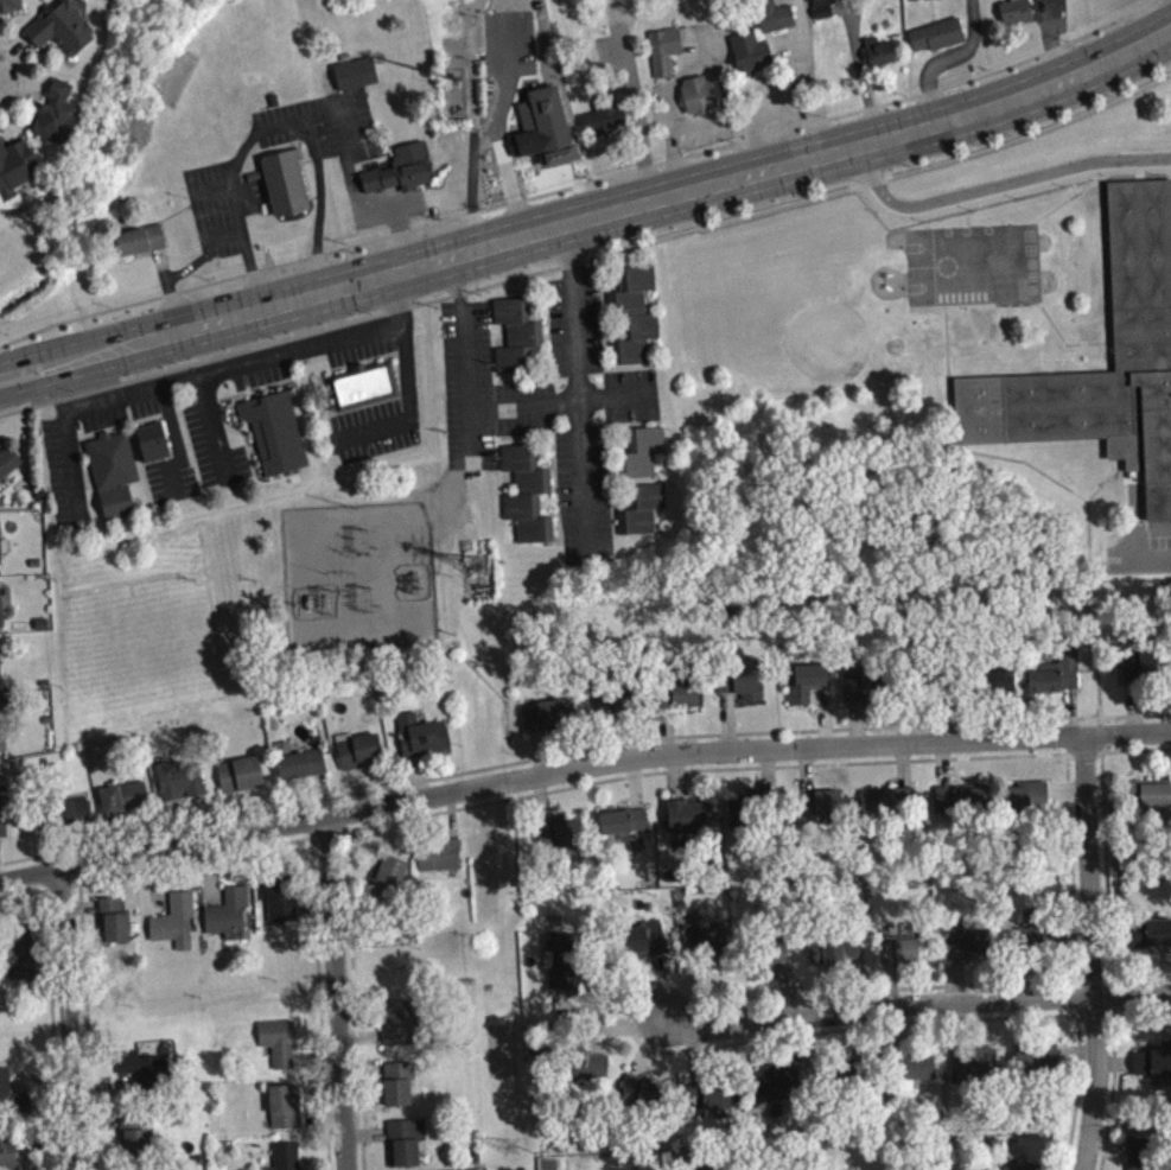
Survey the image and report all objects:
building: (1082, 0)
building: (1046, 1)
building: (9, 5)
building: (821, 7)
building: (1013, 9)
building: (774, 14)
building: (61, 26)
building: (936, 33)
building: (663, 47)
building: (877, 49)
building: (749, 51)
building: (355, 71)
building: (698, 93)
building: (56, 112)
building: (602, 115)
road: (670, 125)
building: (516, 142)
building: (15, 164)
building: (399, 168)
building: (284, 179)
road: (580, 183)
road: (998, 184)
road: (1068, 198)
road: (591, 220)
building: (140, 239)
road: (590, 257)
building: (632, 313)
park: (804, 314)
building: (514, 333)
road: (1064, 342)
building: (1141, 355)
road: (464, 363)
road: (947, 377)
building: (363, 384)
road: (561, 400)
parking lot: (546, 403)
parking lot: (392, 408)
road: (581, 419)
building: (274, 430)
building: (151, 439)
road: (515, 439)
building: (639, 450)
building: (7, 459)
parking lot: (63, 459)
road: (610, 460)
road: (553, 468)
building: (112, 470)
road: (1106, 476)
building: (526, 491)
road: (546, 494)
road: (543, 502)
road: (551, 502)
building: (639, 507)
building: (2, 543)
road: (1089, 547)
road: (1147, 557)
power tower: (482, 566)
power substation: (361, 578)
building: (0, 618)
building: (0, 672)
building: (1143, 673)
building: (1058, 680)
building: (744, 689)
building: (809, 689)
building: (864, 692)
building: (683, 702)
building: (619, 708)
building: (547, 724)
building: (1, 725)
road: (1138, 739)
building: (424, 742)
building: (361, 758)
building: (304, 771)
road: (548, 774)
building: (243, 782)
building: (183, 788)
building: (1147, 801)
building: (127, 805)
building: (1026, 805)
building: (962, 808)
building: (889, 810)
building: (825, 813)
building: (77, 816)
building: (5, 819)
building: (742, 821)
building: (692, 822)
building: (626, 829)
building: (565, 840)
building: (441, 861)
building: (390, 882)
building: (284, 905)
building: (230, 920)
building: (116, 928)
building: (177, 929)
building: (1152, 941)
building: (1035, 945)
building: (648, 947)
building: (706, 947)
building: (969, 950)
building: (777, 956)
road: (1093, 956)
building: (902, 958)
building: (838, 959)
building: (24, 960)
building: (566, 967)
road: (331, 993)
road: (919, 1012)
road: (65, 1019)
building: (401, 1030)
building: (281, 1049)
building: (588, 1067)
building: (1038, 1067)
building: (1153, 1070)
building: (973, 1072)
building: (918, 1073)
building: (144, 1074)
building: (779, 1089)
building: (400, 1092)
building: (644, 1100)
building: (12, 1102)
building: (287, 1114)
building: (132, 1126)
building: (140, 1147)
building: (407, 1147)
power tower: (513, 1147)
building: (1143, 1157)
building: (288, 1159)
building: (11, 1161)

